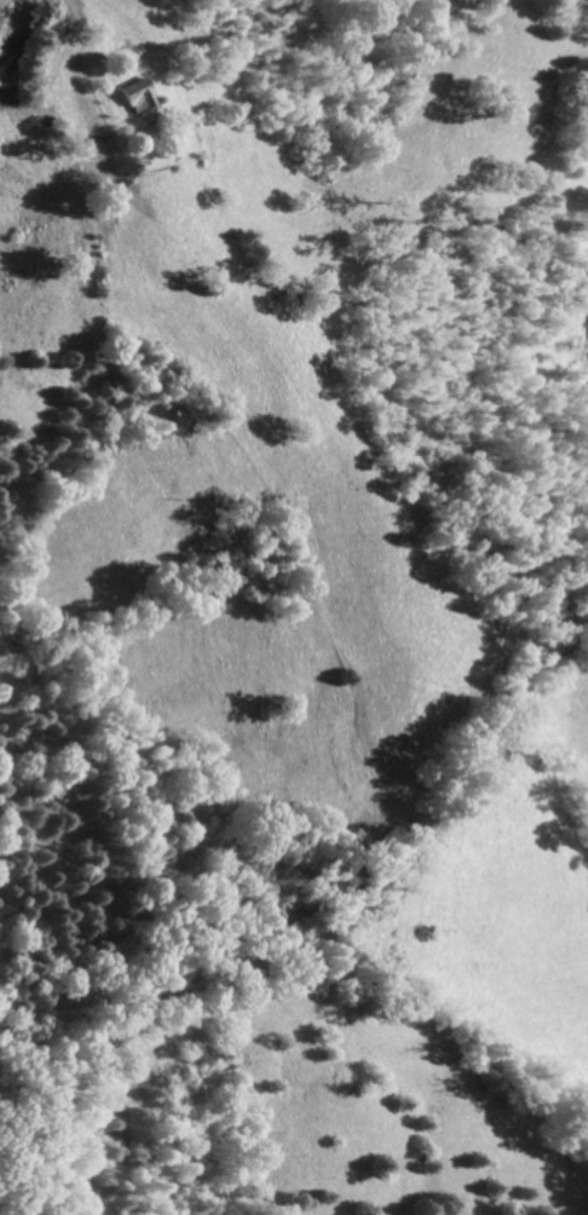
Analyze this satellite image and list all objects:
building: (134, 96)
road: (319, 295)

